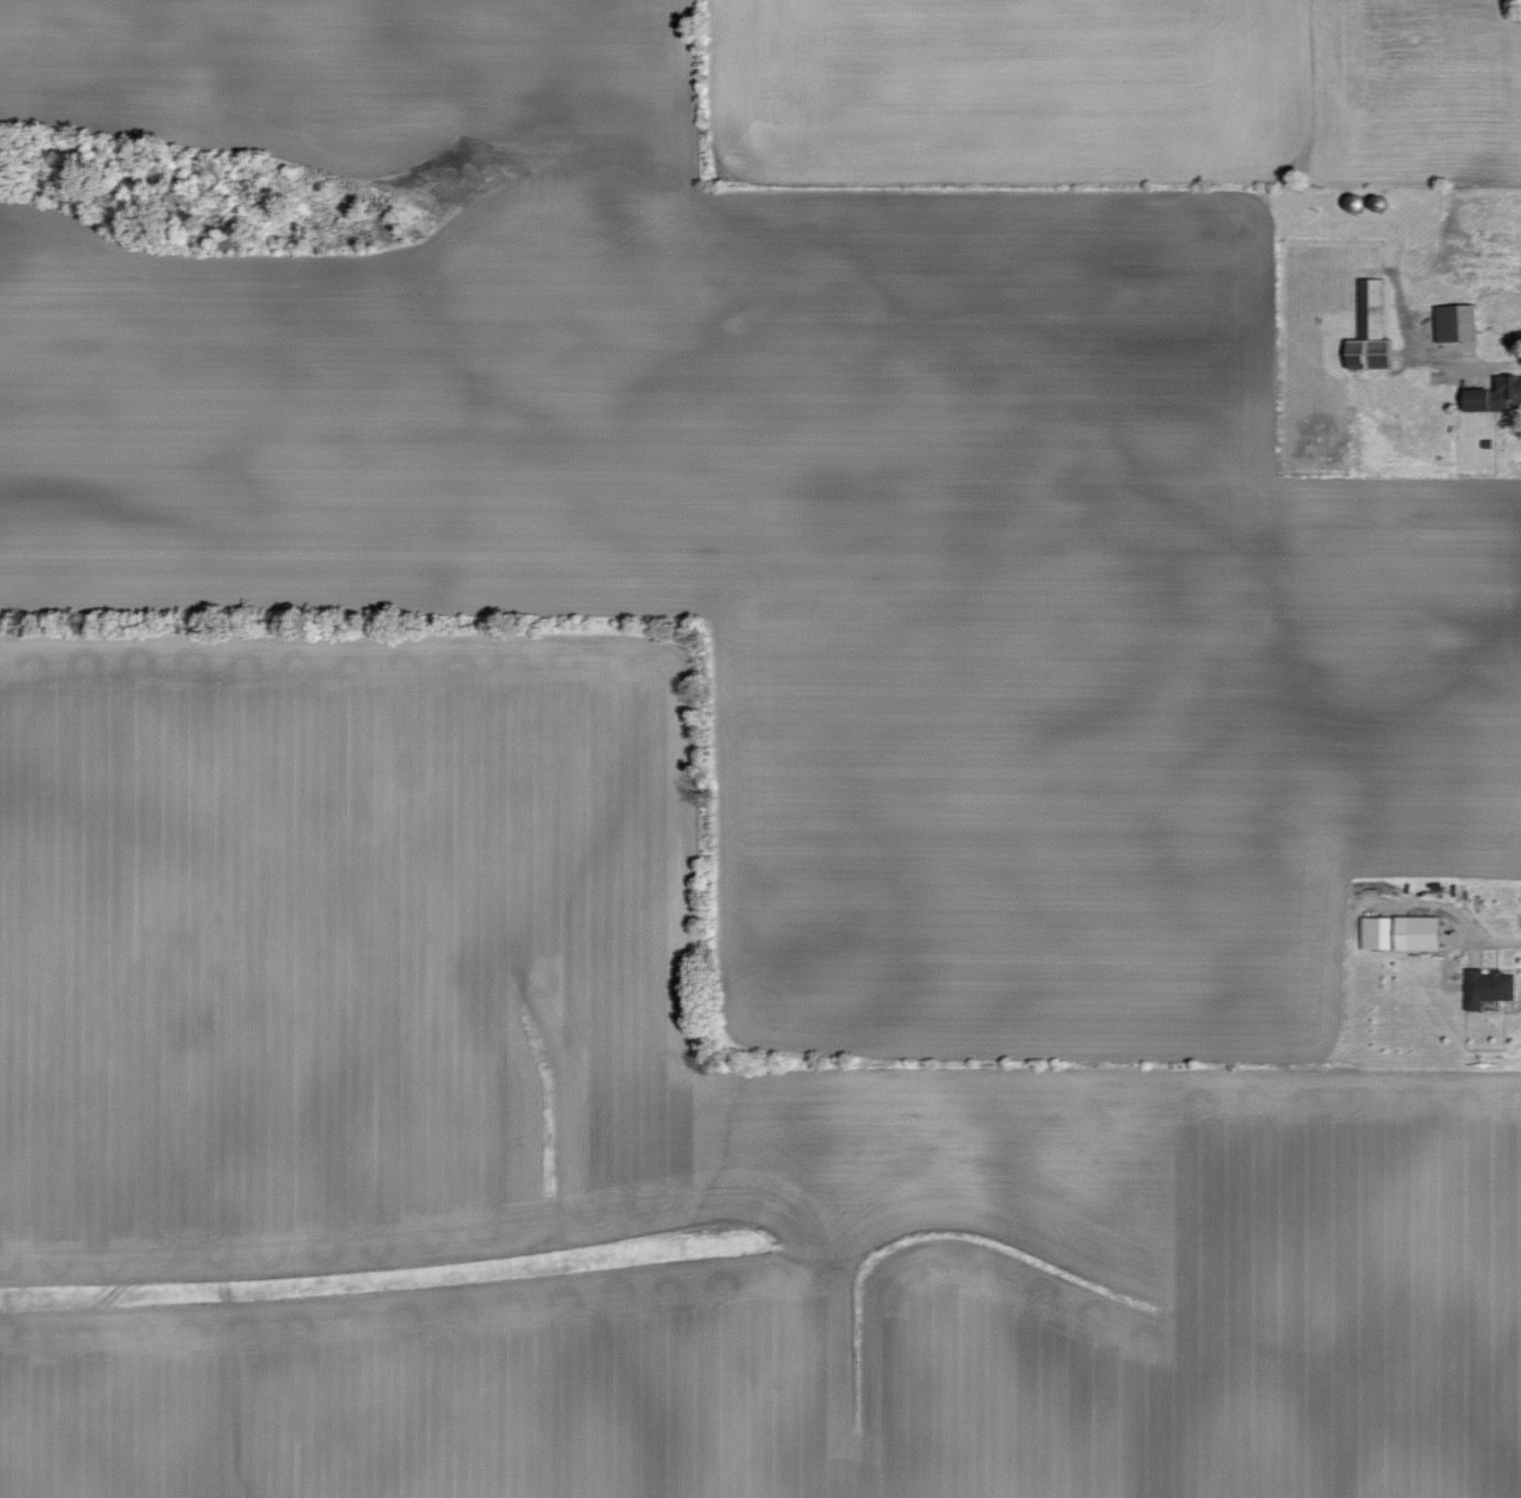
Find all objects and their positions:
building: (1456, 322)
building: (1370, 329)
road: (1481, 362)
building: (1494, 394)
road: (1448, 917)
building: (1377, 931)
building: (1419, 932)
building: (1488, 986)

